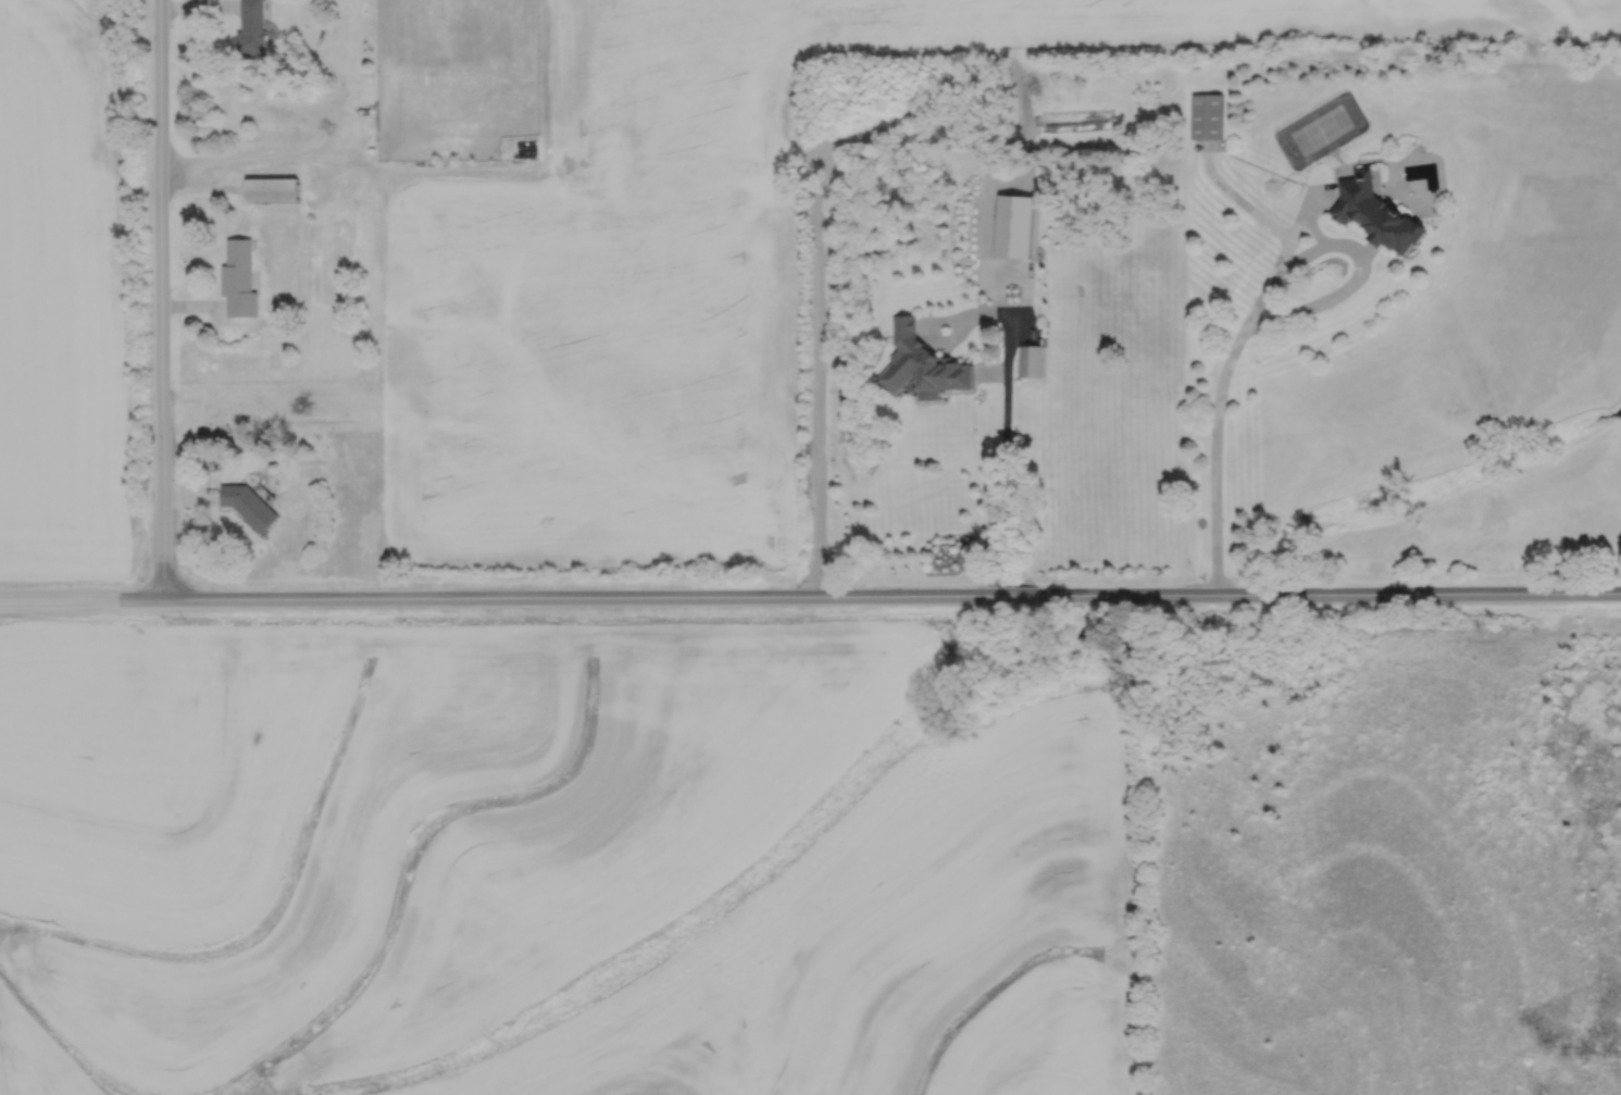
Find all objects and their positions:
building: (250, 27)
building: (1207, 116)
building: (272, 189)
building: (1377, 212)
building: (238, 279)
building: (985, 287)
road: (160, 299)
building: (1033, 360)
road: (1222, 378)
road: (1003, 451)
building: (247, 507)
road: (868, 596)
road: (58, 598)

